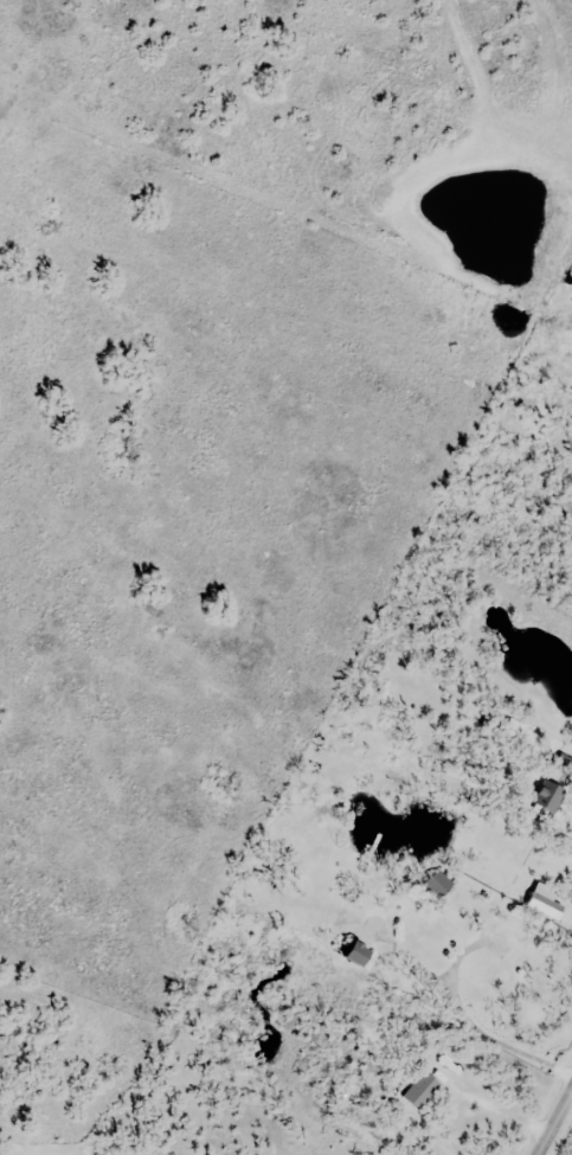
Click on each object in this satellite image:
building: (513, 729)
building: (545, 800)
building: (438, 881)
building: (432, 941)
building: (422, 1091)
road: (500, 1111)
road: (557, 1127)

